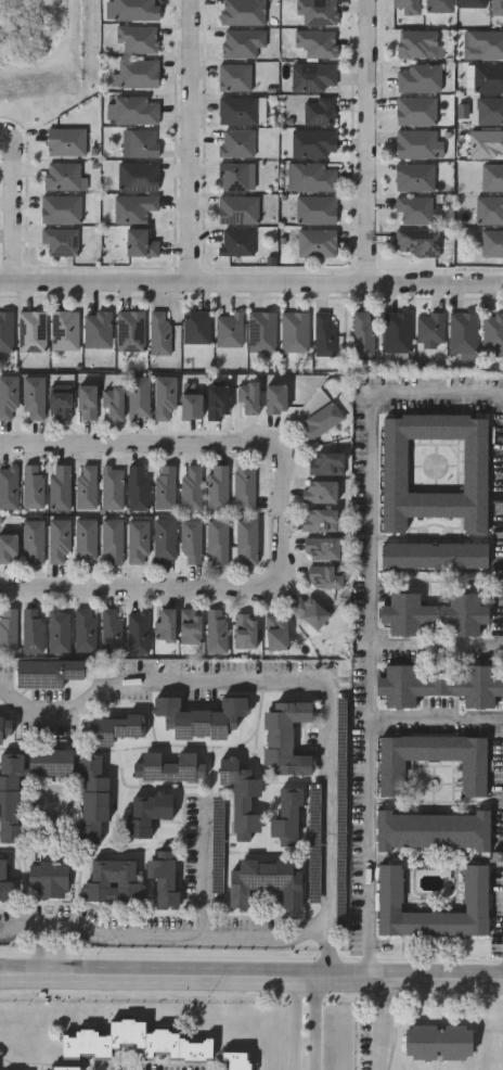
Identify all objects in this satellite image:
building: (470, 3)
building: (438, 5)
building: (133, 10)
building: (136, 73)
building: (234, 76)
building: (312, 76)
building: (417, 77)
building: (488, 77)
building: (136, 109)
building: (236, 109)
building: (319, 111)
building: (415, 111)
building: (490, 111)
road: (13, 131)
building: (64, 141)
building: (143, 142)
building: (236, 142)
building: (313, 142)
building: (415, 143)
building: (486, 143)
road: (191, 147)
road: (366, 149)
building: (63, 176)
building: (137, 176)
building: (235, 176)
building: (311, 177)
building: (414, 177)
building: (491, 177)
building: (133, 207)
building: (60, 208)
building: (237, 208)
building: (414, 208)
building: (315, 209)
building: (490, 209)
road: (14, 220)
building: (59, 241)
building: (235, 241)
building: (317, 242)
building: (416, 242)
building: (491, 242)
building: (140, 243)
road: (251, 295)
building: (196, 327)
building: (98, 329)
building: (429, 329)
building: (64, 330)
building: (229, 330)
building: (492, 330)
building: (5, 331)
building: (31, 331)
building: (130, 331)
building: (261, 331)
building: (294, 331)
building: (396, 331)
building: (462, 331)
building: (159, 332)
building: (324, 333)
building: (362, 334)
road: (502, 392)
building: (8, 397)
building: (33, 397)
building: (137, 397)
building: (247, 397)
building: (164, 398)
building: (273, 398)
building: (85, 402)
building: (216, 402)
building: (59, 403)
building: (112, 404)
building: (189, 406)
building: (319, 421)
road: (139, 454)
building: (324, 463)
building: (435, 469)
building: (33, 485)
building: (8, 486)
building: (60, 486)
building: (85, 486)
building: (191, 486)
building: (111, 487)
building: (138, 487)
building: (164, 487)
building: (217, 487)
building: (243, 487)
building: (319, 492)
road: (278, 520)
building: (319, 521)
building: (83, 539)
building: (163, 539)
building: (33, 540)
building: (111, 540)
building: (217, 540)
building: (57, 542)
building: (137, 542)
building: (190, 542)
building: (246, 542)
building: (8, 548)
building: (321, 548)
building: (434, 555)
building: (323, 576)
road: (139, 587)
building: (309, 611)
building: (434, 614)
road: (371, 619)
building: (164, 624)
building: (189, 625)
building: (8, 629)
building: (30, 629)
building: (83, 629)
building: (111, 629)
building: (57, 630)
building: (137, 630)
building: (216, 630)
building: (244, 630)
building: (275, 632)
road: (437, 642)
building: (50, 674)
road: (307, 684)
building: (440, 685)
road: (438, 715)
building: (201, 717)
building: (4, 725)
building: (116, 727)
building: (285, 738)
building: (51, 763)
building: (171, 767)
building: (391, 778)
building: (10, 795)
building: (242, 795)
building: (91, 798)
building: (147, 811)
building: (287, 812)
building: (434, 830)
road: (203, 870)
building: (164, 878)
building: (49, 879)
building: (5, 881)
building: (112, 881)
building: (266, 882)
building: (474, 888)
road: (160, 935)
road: (40, 950)
road: (63, 951)
road: (251, 983)
road: (377, 1026)
road: (295, 1027)
road: (318, 1027)
building: (438, 1042)
building: (134, 1043)
building: (232, 1060)
building: (62, 1068)

